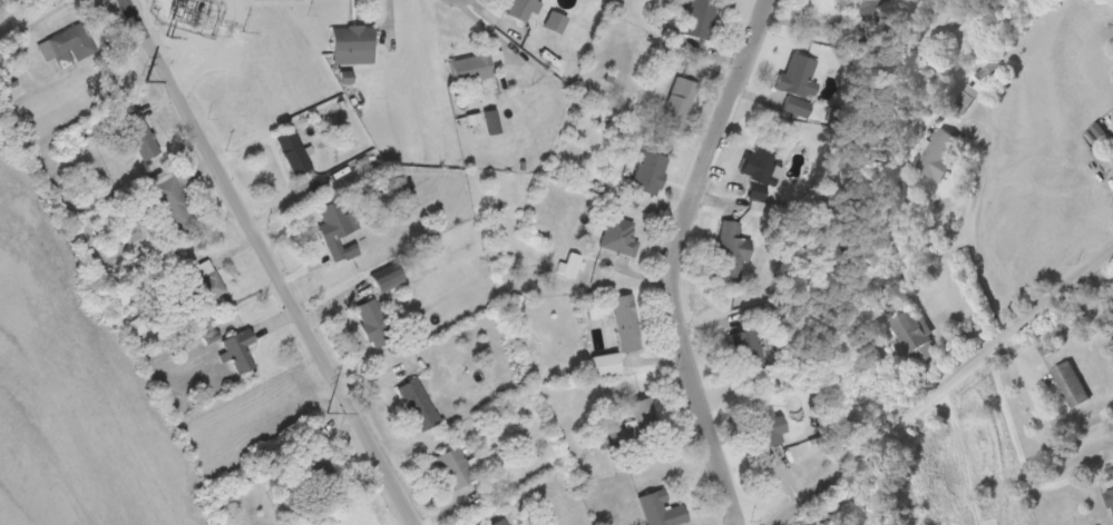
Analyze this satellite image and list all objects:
building: (61, 1)
building: (519, 9)
power substation: (191, 13)
building: (700, 18)
building: (554, 21)
power tower: (169, 36)
building: (350, 43)
building: (66, 44)
building: (495, 58)
building: (469, 68)
building: (797, 85)
building: (964, 100)
building: (677, 102)
building: (138, 133)
building: (292, 150)
building: (938, 152)
building: (760, 162)
building: (647, 172)
building: (172, 199)
building: (334, 231)
building: (618, 236)
building: (730, 250)
road: (680, 258)
road: (266, 262)
building: (385, 280)
building: (202, 283)
building: (119, 300)
building: (372, 321)
building: (625, 323)
building: (135, 327)
building: (910, 333)
building: (746, 348)
building: (237, 349)
building: (604, 364)
building: (1070, 383)
road: (948, 394)
building: (417, 404)
building: (644, 418)
building: (765, 425)
building: (453, 467)
building: (1111, 499)
building: (661, 509)
building: (499, 522)

